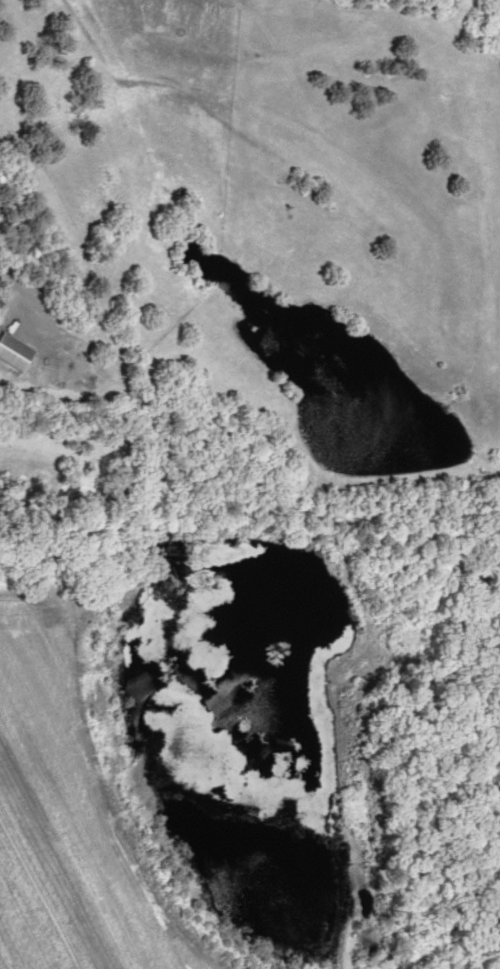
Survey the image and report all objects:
building: (0, 300)
building: (11, 353)

